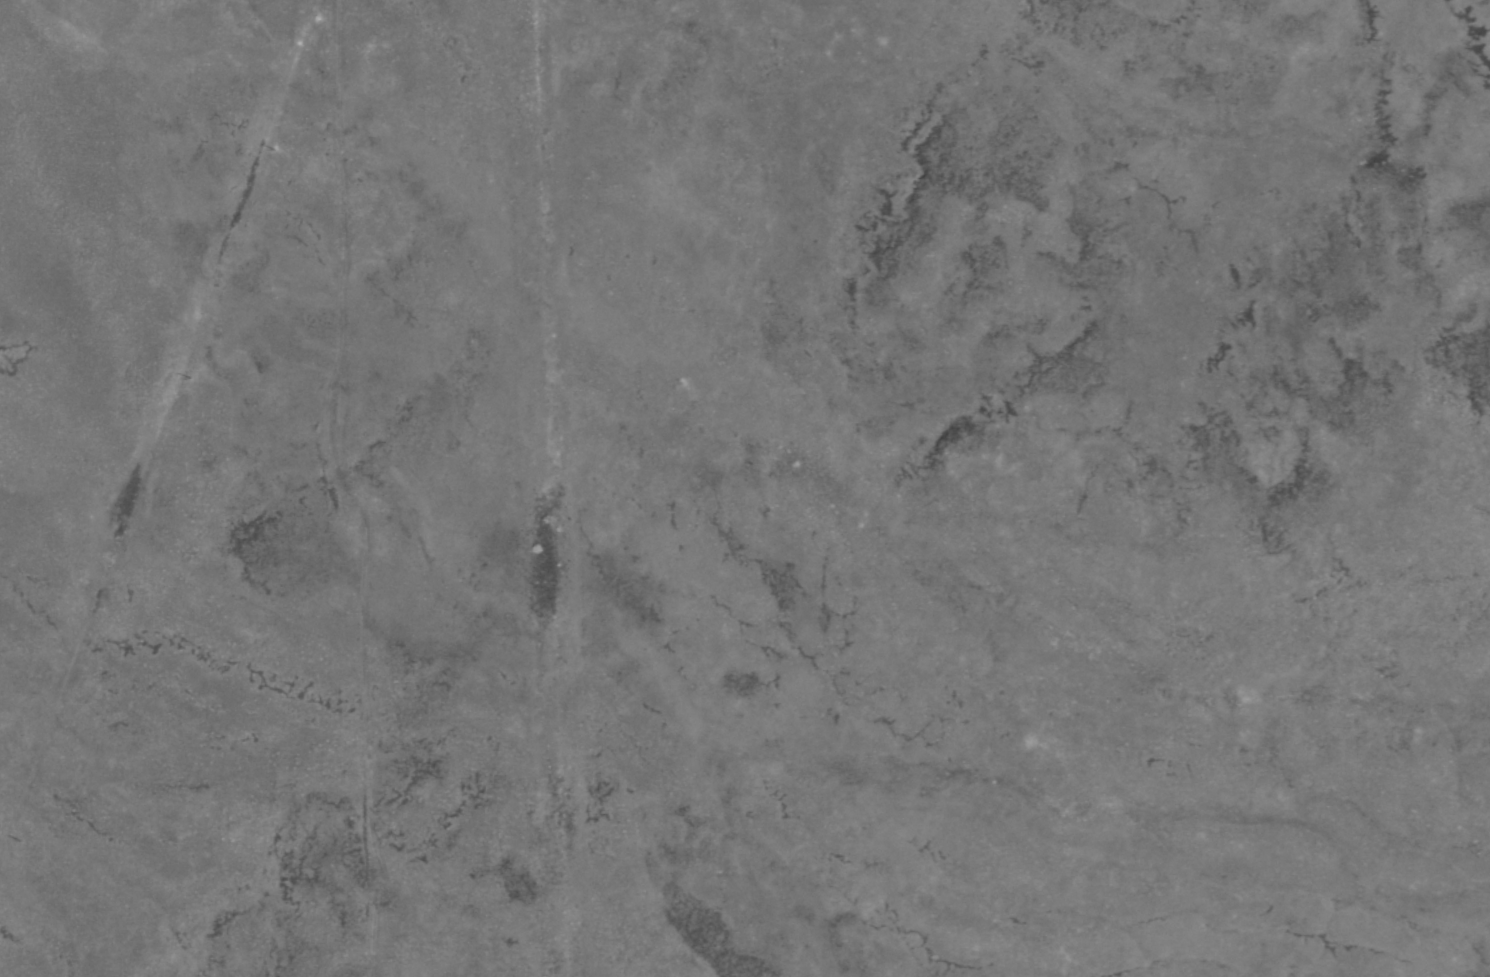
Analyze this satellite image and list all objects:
road: (322, 488)

